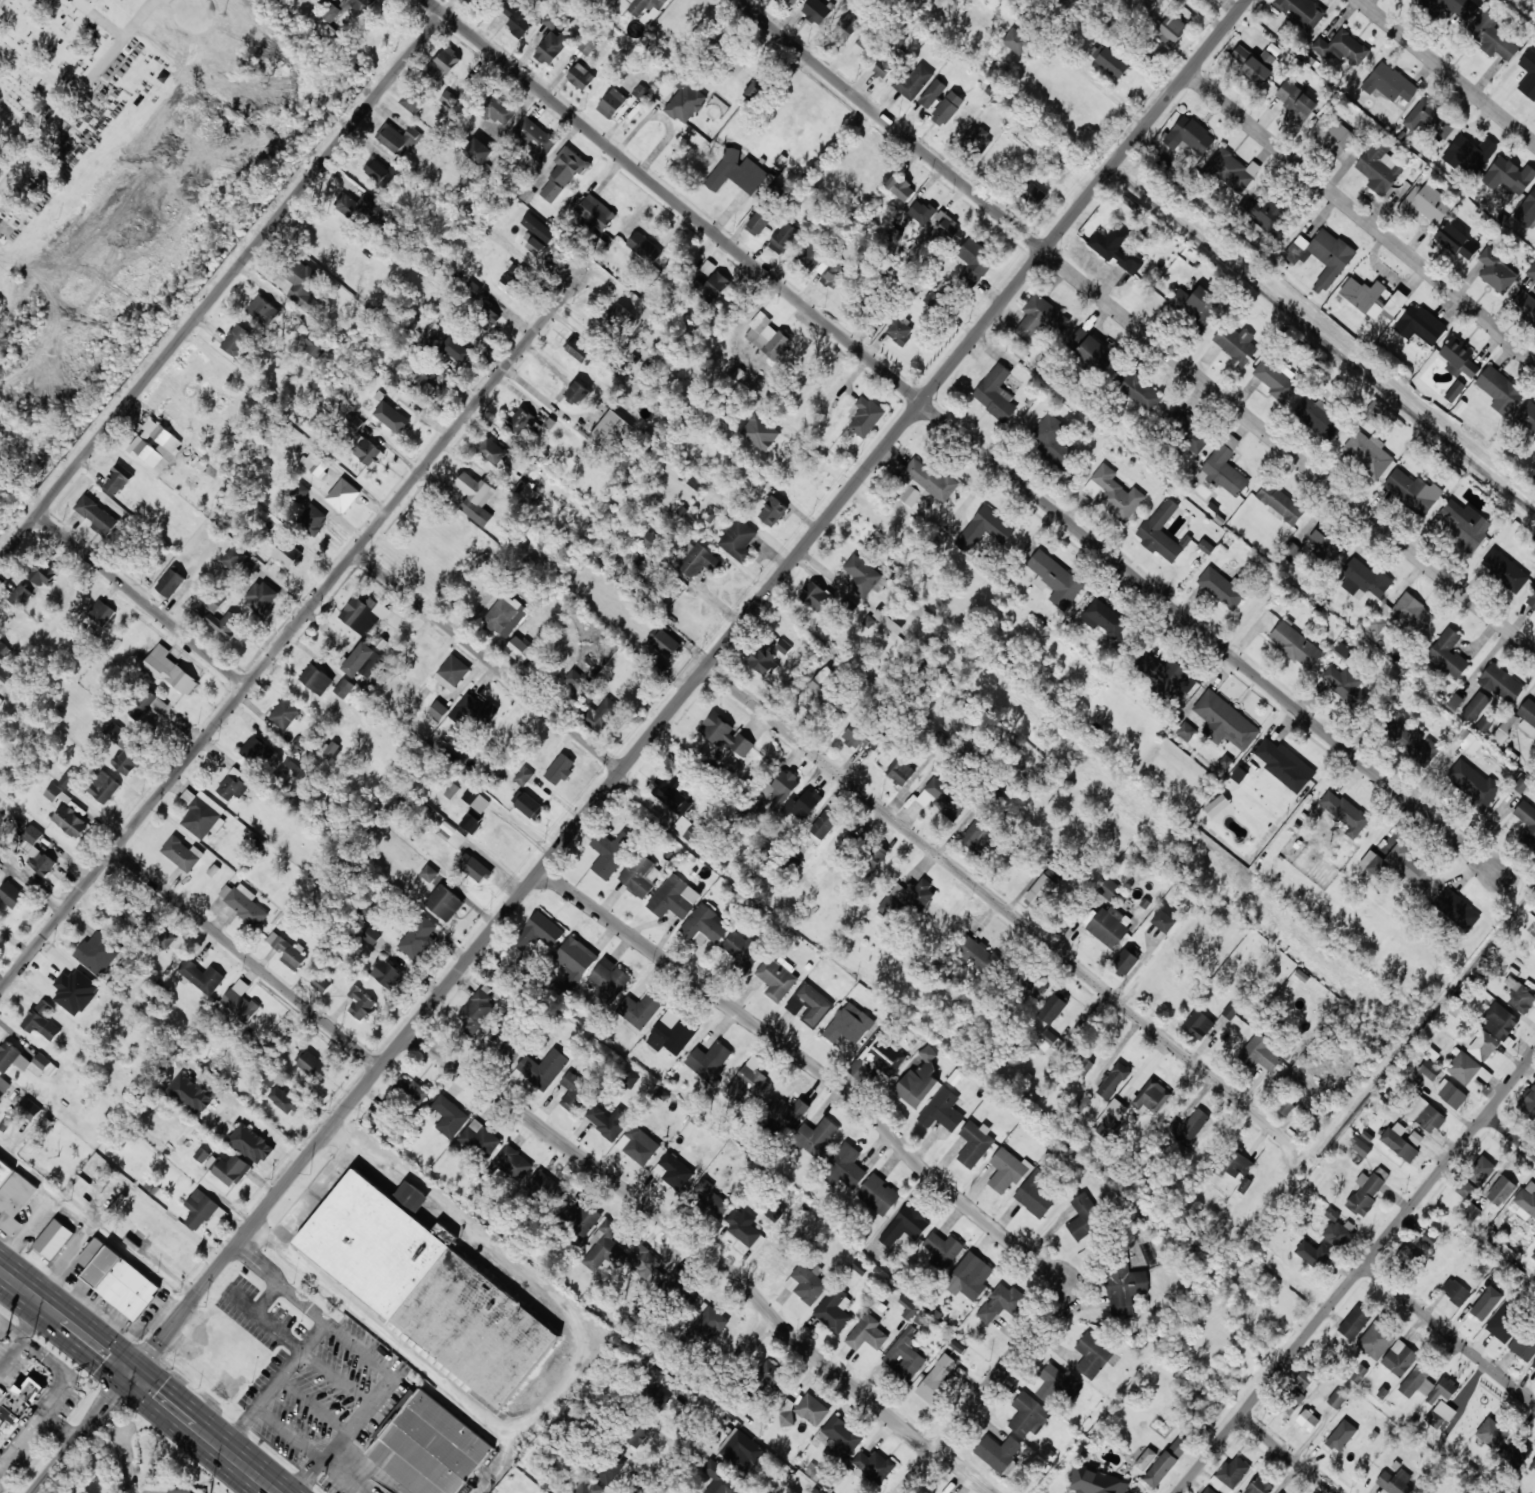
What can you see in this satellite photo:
building: (998, 0)
building: (1150, 0)
road: (190, 1)
building: (282, 1)
building: (793, 1)
building: (361, 5)
building: (1452, 6)
building: (641, 8)
building: (816, 11)
building: (331, 12)
building: (1302, 12)
building: (517, 18)
road: (100, 19)
building: (552, 19)
building: (845, 28)
building: (1171, 30)
building: (1492, 36)
building: (1018, 44)
park: (140, 46)
building: (553, 47)
building: (587, 47)
building: (863, 48)
building: (1342, 48)
building: (1109, 60)
building: (445, 64)
building: (887, 64)
building: (1256, 65)
road: (1446, 70)
building: (1528, 74)
building: (581, 77)
building: (913, 81)
building: (1389, 83)
building: (755, 90)
building: (640, 92)
building: (933, 93)
road: (77, 94)
building: (1296, 100)
building: (414, 101)
building: (685, 102)
building: (612, 103)
building: (495, 107)
building: (947, 108)
building: (1430, 119)
road: (19, 125)
building: (1331, 133)
building: (1189, 135)
building: (535, 138)
building: (398, 139)
building: (979, 139)
building: (478, 151)
building: (1470, 155)
park: (52, 161)
building: (1379, 167)
building: (737, 172)
building: (383, 174)
building: (563, 174)
building: (1509, 175)
building: (900, 188)
building: (1034, 194)
building: (1426, 204)
building: (358, 206)
building: (1527, 211)
building: (596, 212)
building: (923, 212)
building: (1268, 215)
road: (1361, 217)
building: (758, 223)
building: (946, 227)
building: (538, 228)
building: (894, 235)
building: (784, 238)
building: (1457, 241)
building: (534, 243)
building: (644, 247)
building: (1116, 249)
building: (813, 255)
building: (1322, 256)
building: (976, 259)
building: (1531, 270)
building: (1497, 271)
building: (832, 273)
building: (511, 286)
building: (711, 287)
road: (223, 288)
building: (307, 290)
building: (1364, 296)
building: (1524, 304)
building: (1395, 305)
building: (1197, 306)
building: (263, 311)
building: (617, 315)
building: (487, 318)
building: (1041, 318)
building: (1421, 324)
road: (1136, 325)
building: (900, 330)
building: (760, 331)
building: (236, 340)
building: (1236, 344)
building: (316, 345)
building: (778, 346)
building: (1088, 347)
building: (456, 349)
building: (578, 349)
building: (1459, 359)
building: (1277, 380)
building: (427, 387)
building: (1138, 390)
building: (1455, 391)
building: (1500, 391)
building: (578, 393)
building: (996, 394)
building: (1528, 416)
building: (391, 417)
building: (866, 417)
building: (1320, 417)
building: (612, 432)
building: (760, 432)
building: (1191, 432)
building: (1054, 441)
road: (975, 445)
building: (156, 446)
building: (492, 451)
building: (367, 452)
building: (1368, 453)
building: (523, 462)
building: (316, 464)
building: (1225, 468)
building: (118, 479)
building: (928, 479)
building: (1413, 491)
building: (1117, 494)
building: (343, 495)
building: (910, 495)
building: (476, 498)
building: (1281, 503)
building: (772, 511)
building: (97, 516)
building: (312, 519)
building: (1464, 524)
building: (985, 529)
building: (1161, 532)
building: (646, 537)
building: (738, 540)
building: (1324, 544)
building: (1291, 551)
building: (287, 554)
building: (235, 558)
building: (697, 560)
building: (1505, 571)
building: (44, 572)
building: (862, 576)
building: (1055, 580)
building: (1364, 580)
building: (170, 583)
building: (1221, 588)
building: (20, 596)
building: (815, 596)
building: (262, 598)
building: (1532, 598)
road: (141, 600)
building: (101, 612)
building: (363, 614)
building: (504, 614)
building: (1405, 615)
building: (1103, 618)
building: (225, 624)
road: (289, 631)
building: (666, 643)
building: (1295, 645)
building: (784, 647)
building: (3, 650)
building: (1343, 651)
building: (1448, 654)
building: (363, 661)
road: (489, 661)
building: (764, 663)
building: (169, 670)
building: (5, 673)
building: (452, 673)
building: (1167, 676)
building: (316, 679)
building: (824, 682)
building: (1501, 683)
building: (575, 684)
building: (1346, 686)
building: (345, 688)
building: (146, 704)
building: (1475, 708)
building: (439, 710)
building: (473, 711)
building: (285, 714)
building: (601, 715)
building: (1528, 716)
building: (1225, 721)
building: (1483, 725)
building: (1186, 731)
building: (726, 735)
building: (861, 737)
building: (1414, 739)
building: (300, 746)
road: (643, 746)
building: (1462, 746)
building: (257, 749)
building: (127, 750)
building: (297, 765)
building: (1285, 765)
building: (560, 769)
building: (900, 772)
building: (524, 776)
building: (69, 779)
building: (1474, 783)
building: (1520, 785)
building: (232, 786)
building: (104, 787)
building: (782, 788)
building: (452, 791)
building: (675, 795)
building: (942, 798)
building: (476, 800)
building: (528, 805)
building: (803, 805)
building: (1211, 809)
building: (1345, 813)
building: (202, 814)
building: (1527, 818)
building: (71, 821)
building: (471, 823)
building: (824, 825)
building: (689, 828)
building: (452, 835)
building: (976, 837)
building: (848, 847)
building: (37, 852)
building: (610, 852)
building: (182, 853)
building: (875, 855)
road: (1494, 860)
building: (1374, 864)
building: (1409, 866)
building: (477, 870)
building: (429, 873)
building: (640, 875)
road: (992, 885)
building: (1111, 890)
building: (1041, 892)
building: (11, 895)
building: (907, 897)
building: (674, 898)
building: (444, 902)
building: (244, 903)
building: (1457, 909)
building: (369, 913)
building: (1164, 921)
building: (1, 924)
building: (705, 925)
building: (1110, 926)
building: (541, 934)
building: (371, 936)
building: (419, 938)
building: (166, 940)
building: (742, 949)
building: (288, 950)
building: (98, 953)
building: (975, 953)
road: (247, 958)
building: (575, 960)
building: (1125, 963)
building: (1484, 970)
building: (387, 974)
building: (201, 976)
building: (610, 977)
building: (777, 978)
building: (320, 984)
building: (1038, 986)
building: (1520, 997)
building: (240, 1002)
building: (361, 1004)
building: (809, 1005)
building: (1053, 1009)
building: (477, 1010)
building: (640, 1010)
building: (1230, 1012)
building: (41, 1021)
building: (1500, 1021)
building: (1198, 1024)
building: (849, 1025)
building: (672, 1036)
building: (1046, 1040)
building: (1483, 1046)
building: (512, 1049)
building: (1260, 1054)
building: (878, 1057)
building: (25, 1061)
building: (710, 1061)
building: (313, 1065)
building: (1084, 1066)
building: (1463, 1067)
building: (543, 1069)
building: (1430, 1070)
building: (1485, 1075)
building: (270, 1077)
building: (629, 1078)
building: (748, 1080)
building: (919, 1080)
building: (1113, 1081)
building: (4, 1087)
building: (412, 1092)
building: (574, 1092)
building: (1451, 1093)
building: (190, 1094)
building: (1152, 1097)
building: (284, 1100)
building: (1082, 1102)
building: (1528, 1102)
building: (1285, 1107)
building: (29, 1109)
building: (942, 1110)
building: (787, 1111)
building: (1425, 1115)
building: (450, 1117)
building: (1110, 1118)
building: (608, 1120)
building: (1189, 1126)
road: (1511, 1134)
building: (816, 1136)
building: (479, 1140)
building: (974, 1143)
building: (251, 1144)
building: (638, 1145)
building: (1399, 1145)
road: (906, 1147)
building: (1361, 1148)
building: (511, 1163)
building: (1235, 1164)
building: (847, 1165)
building: (232, 1170)
building: (1007, 1170)
building: (1481, 1170)
building: (673, 1171)
building: (5, 1172)
building: (545, 1187)
building: (1501, 1190)
building: (1468, 1192)
building: (1365, 1193)
building: (878, 1194)
building: (1037, 1195)
building: (412, 1196)
building: (709, 1197)
building: (1527, 1198)
building: (15, 1202)
building: (200, 1209)
building: (1472, 1212)
building: (1084, 1216)
building: (585, 1219)
building: (905, 1226)
building: (743, 1228)
building: (1430, 1238)
building: (54, 1239)
building: (604, 1246)
building: (371, 1248)
building: (944, 1249)
building: (1313, 1253)
building: (1407, 1254)
building: (1533, 1256)
road: (706, 1257)
building: (644, 1262)
road: (1356, 1274)
building: (118, 1279)
building: (971, 1279)
building: (806, 1284)
building: (1124, 1288)
building: (1455, 1291)
building: (1001, 1303)
building: (1487, 1303)
building: (835, 1310)
road: (31, 1321)
building: (1354, 1323)
building: (1504, 1324)
building: (709, 1325)
road: (1450, 1333)
building: (867, 1334)
building: (1376, 1340)
building: (1524, 1345)
building: (905, 1355)
building: (1093, 1355)
building: (1400, 1358)
building: (1534, 1363)
building: (1360, 1373)
building: (772, 1376)
building: (936, 1379)
road: (136, 1381)
building: (1054, 1383)
building: (1417, 1383)
building: (1303, 1386)
building: (654, 1387)
road: (58, 1389)
building: (1442, 1390)
building: (1336, 1400)
building: (21, 1401)
road: (709, 1406)
building: (812, 1410)
building: (787, 1415)
building: (1029, 1415)
building: (1441, 1415)
building: (1308, 1420)
road: (60, 1428)
building: (1491, 1433)
building: (638, 1434)
building: (842, 1436)
building: (1341, 1436)
road: (118, 1448)
building: (432, 1449)
building: (741, 1450)
building: (998, 1452)
building: (1515, 1452)
road: (1290, 1454)
building: (1146, 1459)
building: (1167, 1462)
building: (1533, 1464)
building: (612, 1466)
building: (873, 1467)
building: (1230, 1474)
building: (721, 1480)
building: (1094, 1481)
building: (1397, 1482)
building: (587, 1484)
building: (1258, 1486)
building: (468, 1489)
building: (1209, 1490)
building: (178, 1491)
building: (822, 1492)

